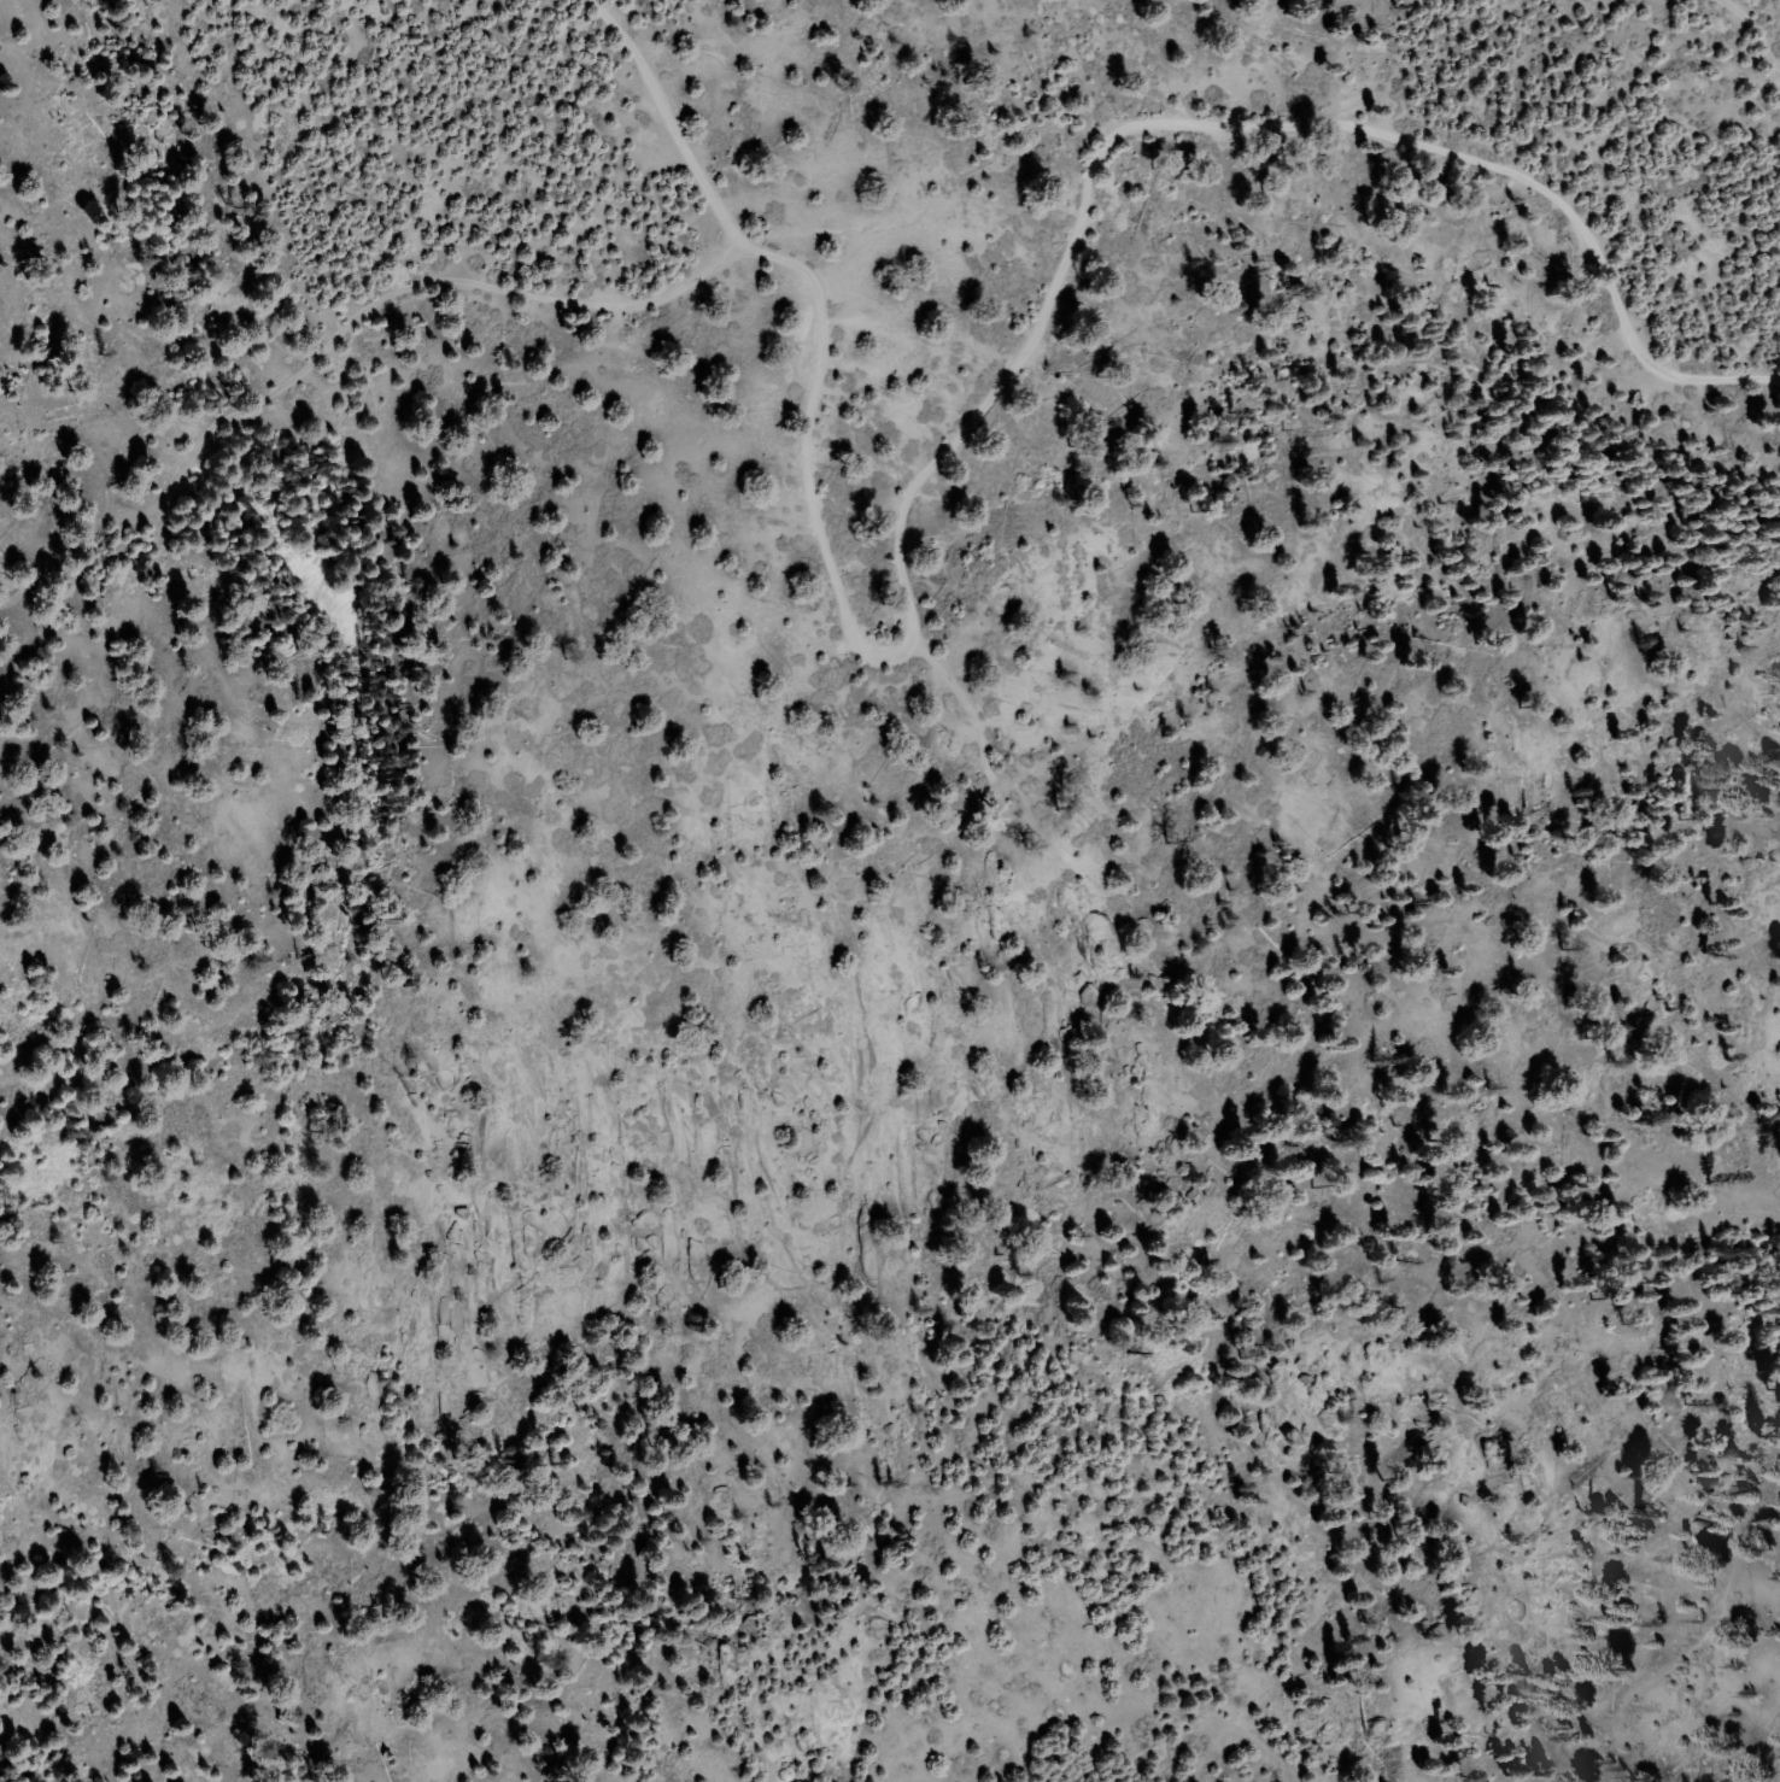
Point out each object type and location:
road: (1755, 29)
building: (1109, 322)
road: (345, 352)
road: (985, 406)

